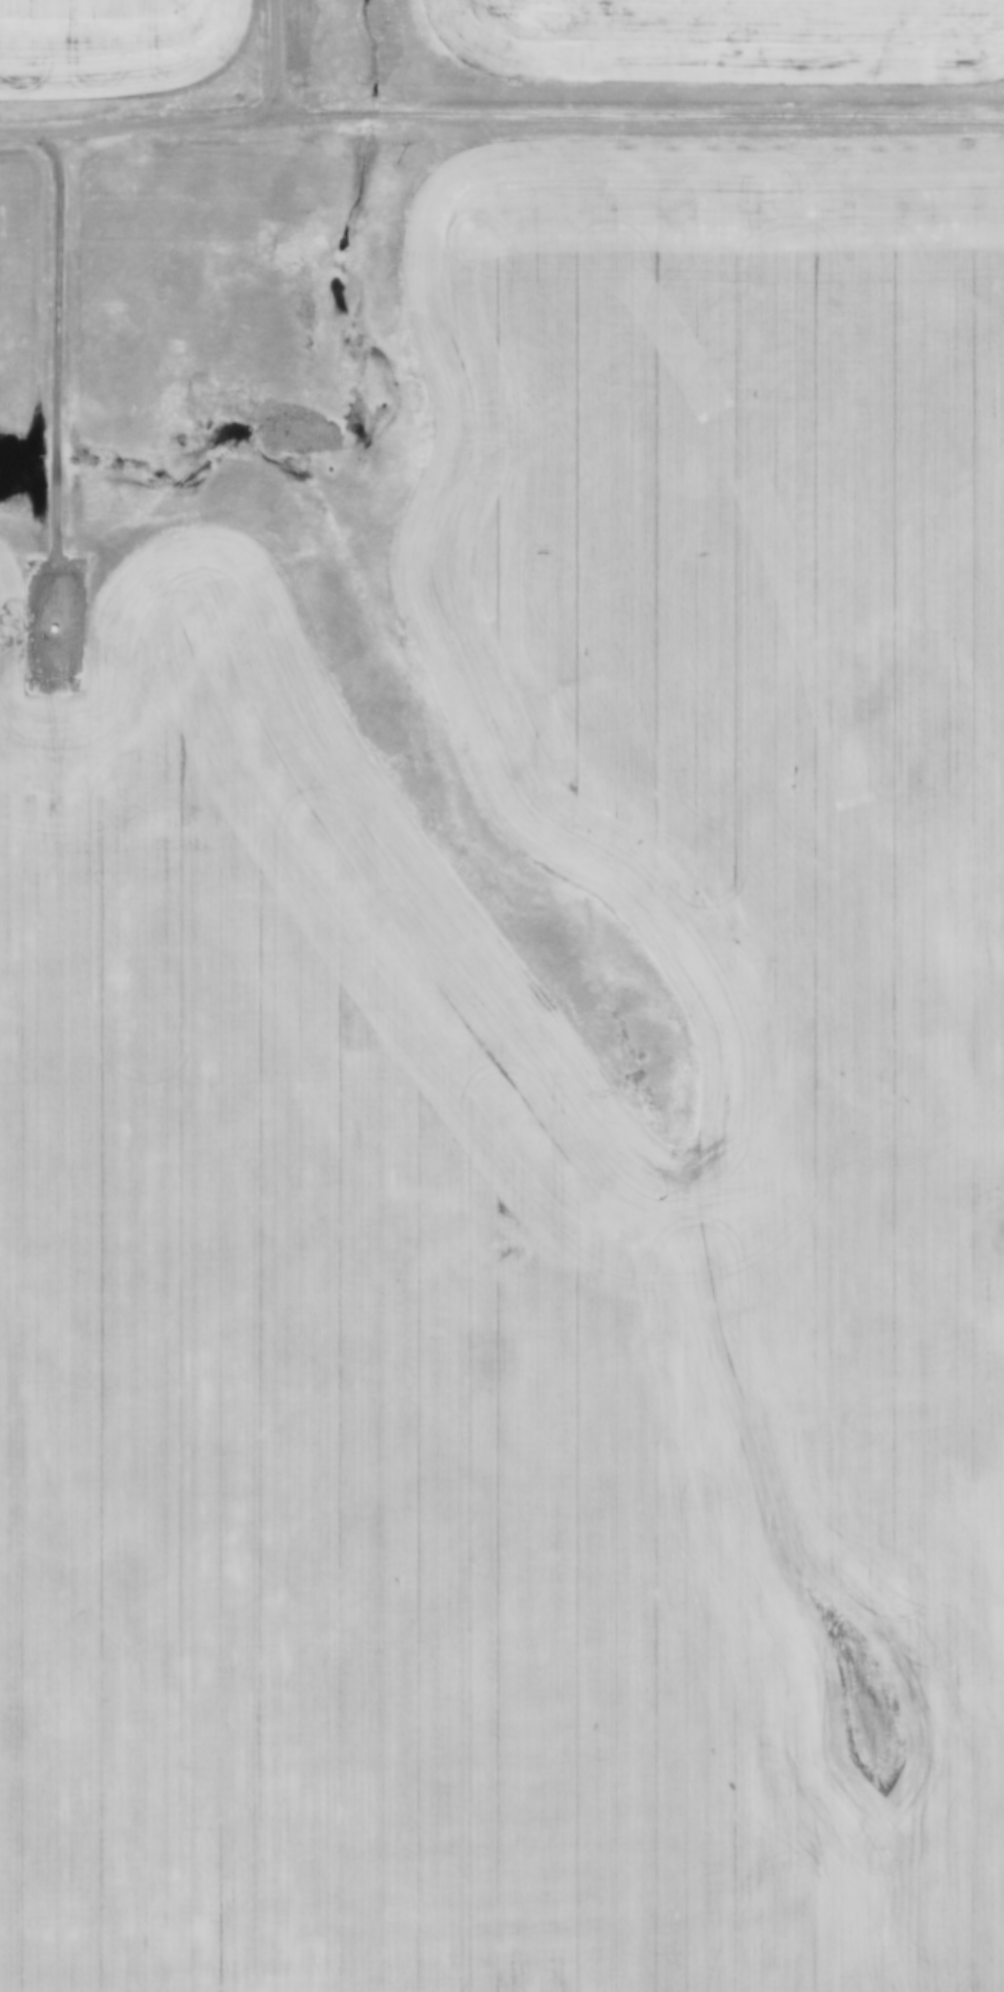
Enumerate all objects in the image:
road: (633, 106)
road: (131, 114)
road: (57, 350)

